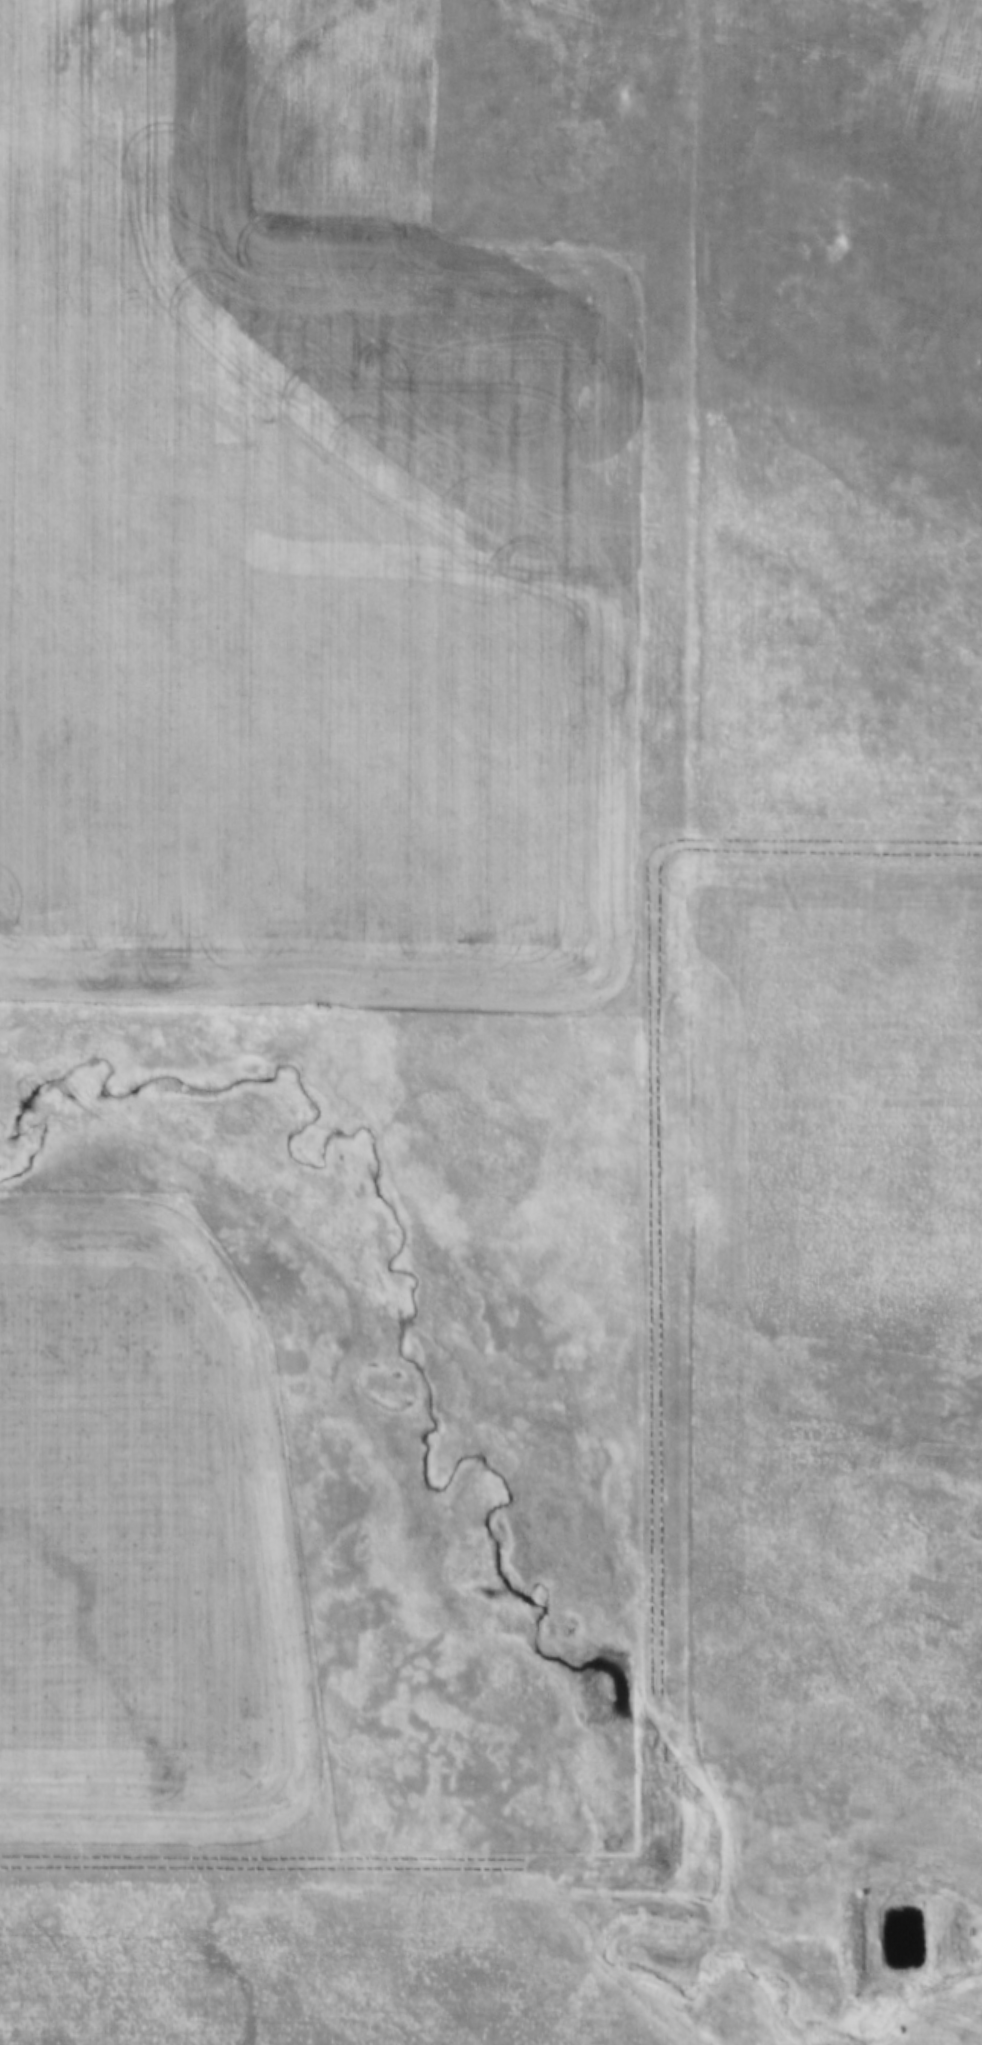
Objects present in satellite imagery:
road: (346, 1894)

